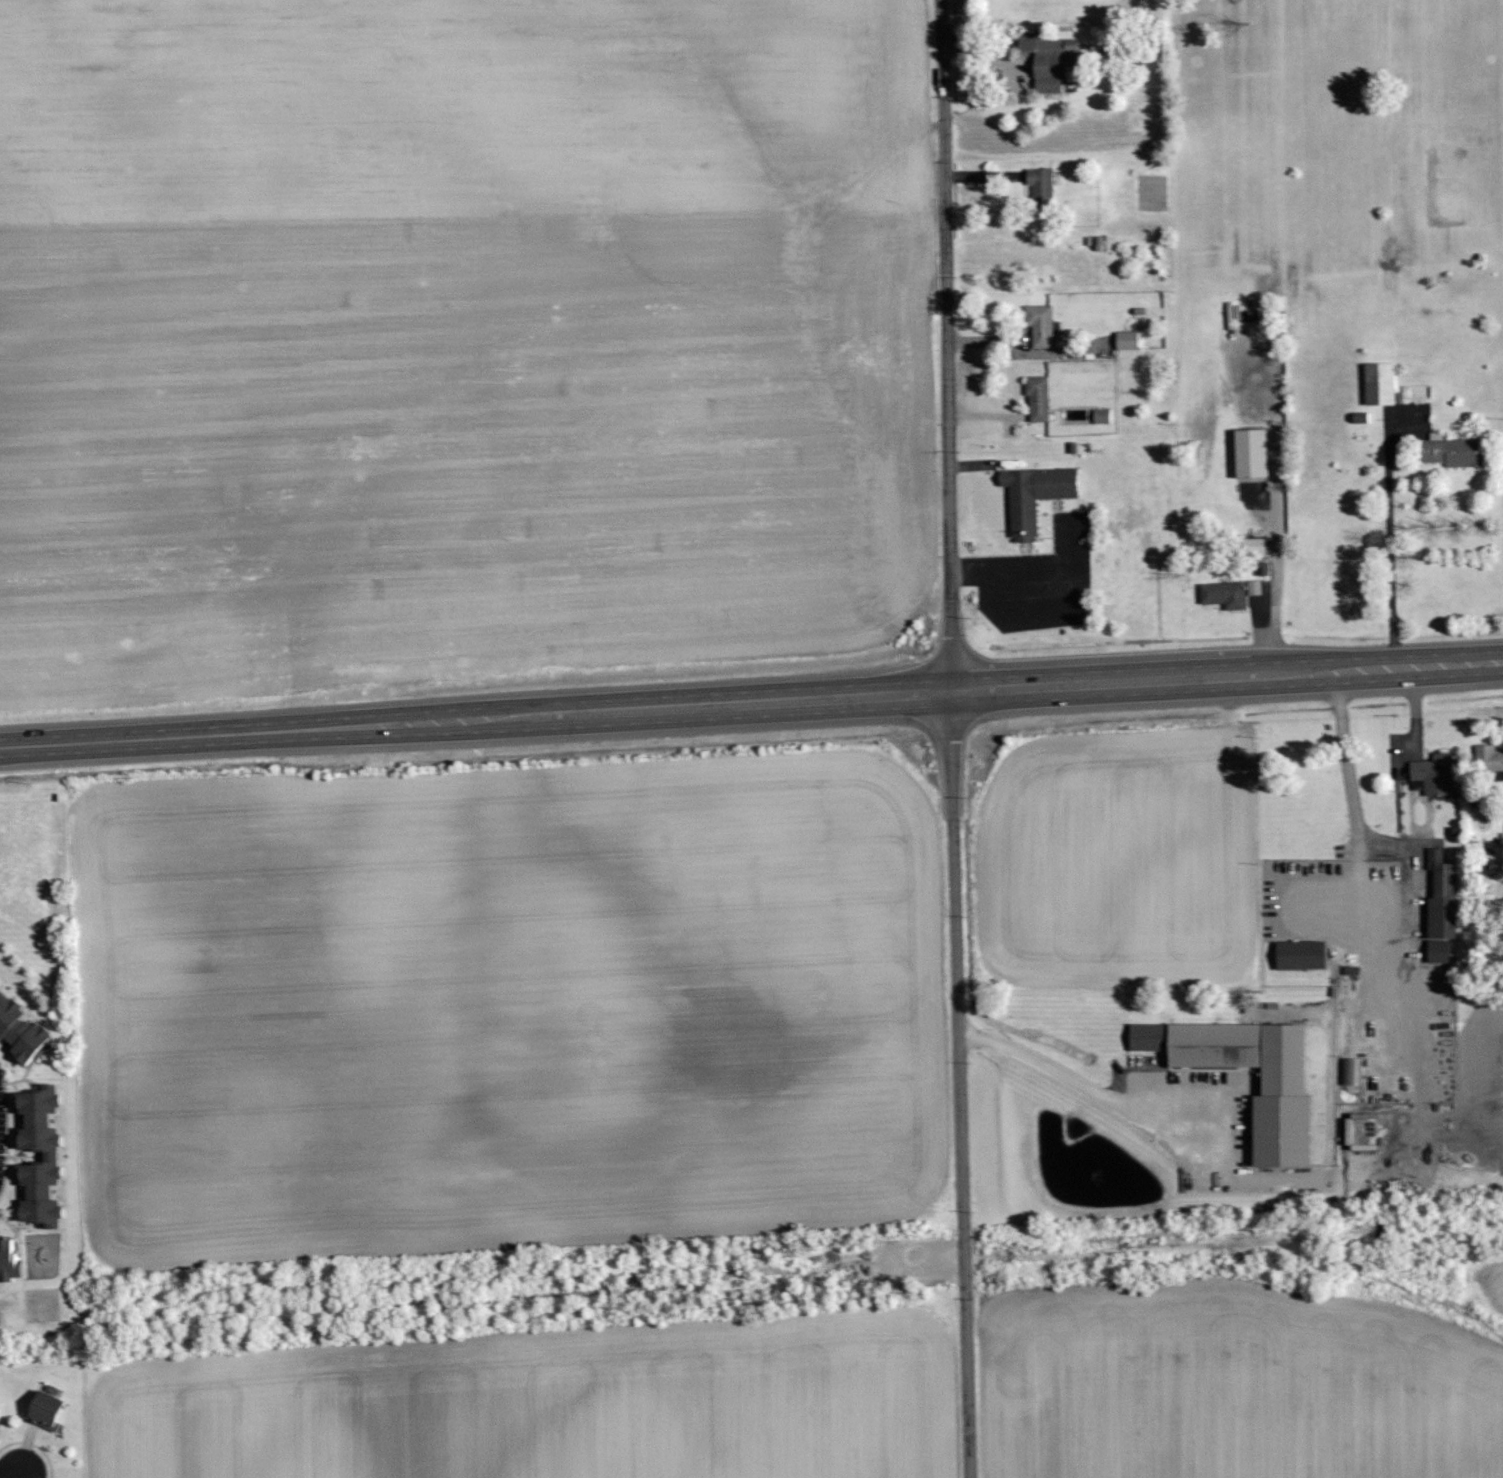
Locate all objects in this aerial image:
building: (1048, 59)
building: (1042, 190)
building: (1042, 325)
building: (1128, 340)
road: (946, 346)
building: (1381, 383)
building: (1039, 398)
building: (1102, 416)
building: (1072, 447)
building: (1454, 451)
building: (1252, 453)
building: (1003, 478)
building: (1036, 494)
road: (1277, 530)
building: (1023, 539)
road: (1071, 542)
building: (1255, 547)
road: (1394, 564)
road: (1027, 573)
road: (969, 576)
road: (953, 577)
parking lot: (1035, 582)
building: (1225, 595)
road: (1029, 612)
road: (1420, 667)
road: (668, 710)
building: (1489, 759)
building: (1436, 774)
road: (1347, 779)
building: (1444, 897)
building: (1440, 951)
building: (1302, 956)
building: (22, 1032)
building: (1145, 1038)
building: (1213, 1046)
building: (1351, 1072)
road: (960, 1086)
building: (1281, 1101)
road: (1328, 1137)
building: (51, 1159)
building: (8, 1261)
road: (930, 1263)
parking lot: (917, 1264)
road: (483, 1298)
building: (44, 1409)
road: (34, 1447)
road: (22, 1473)

